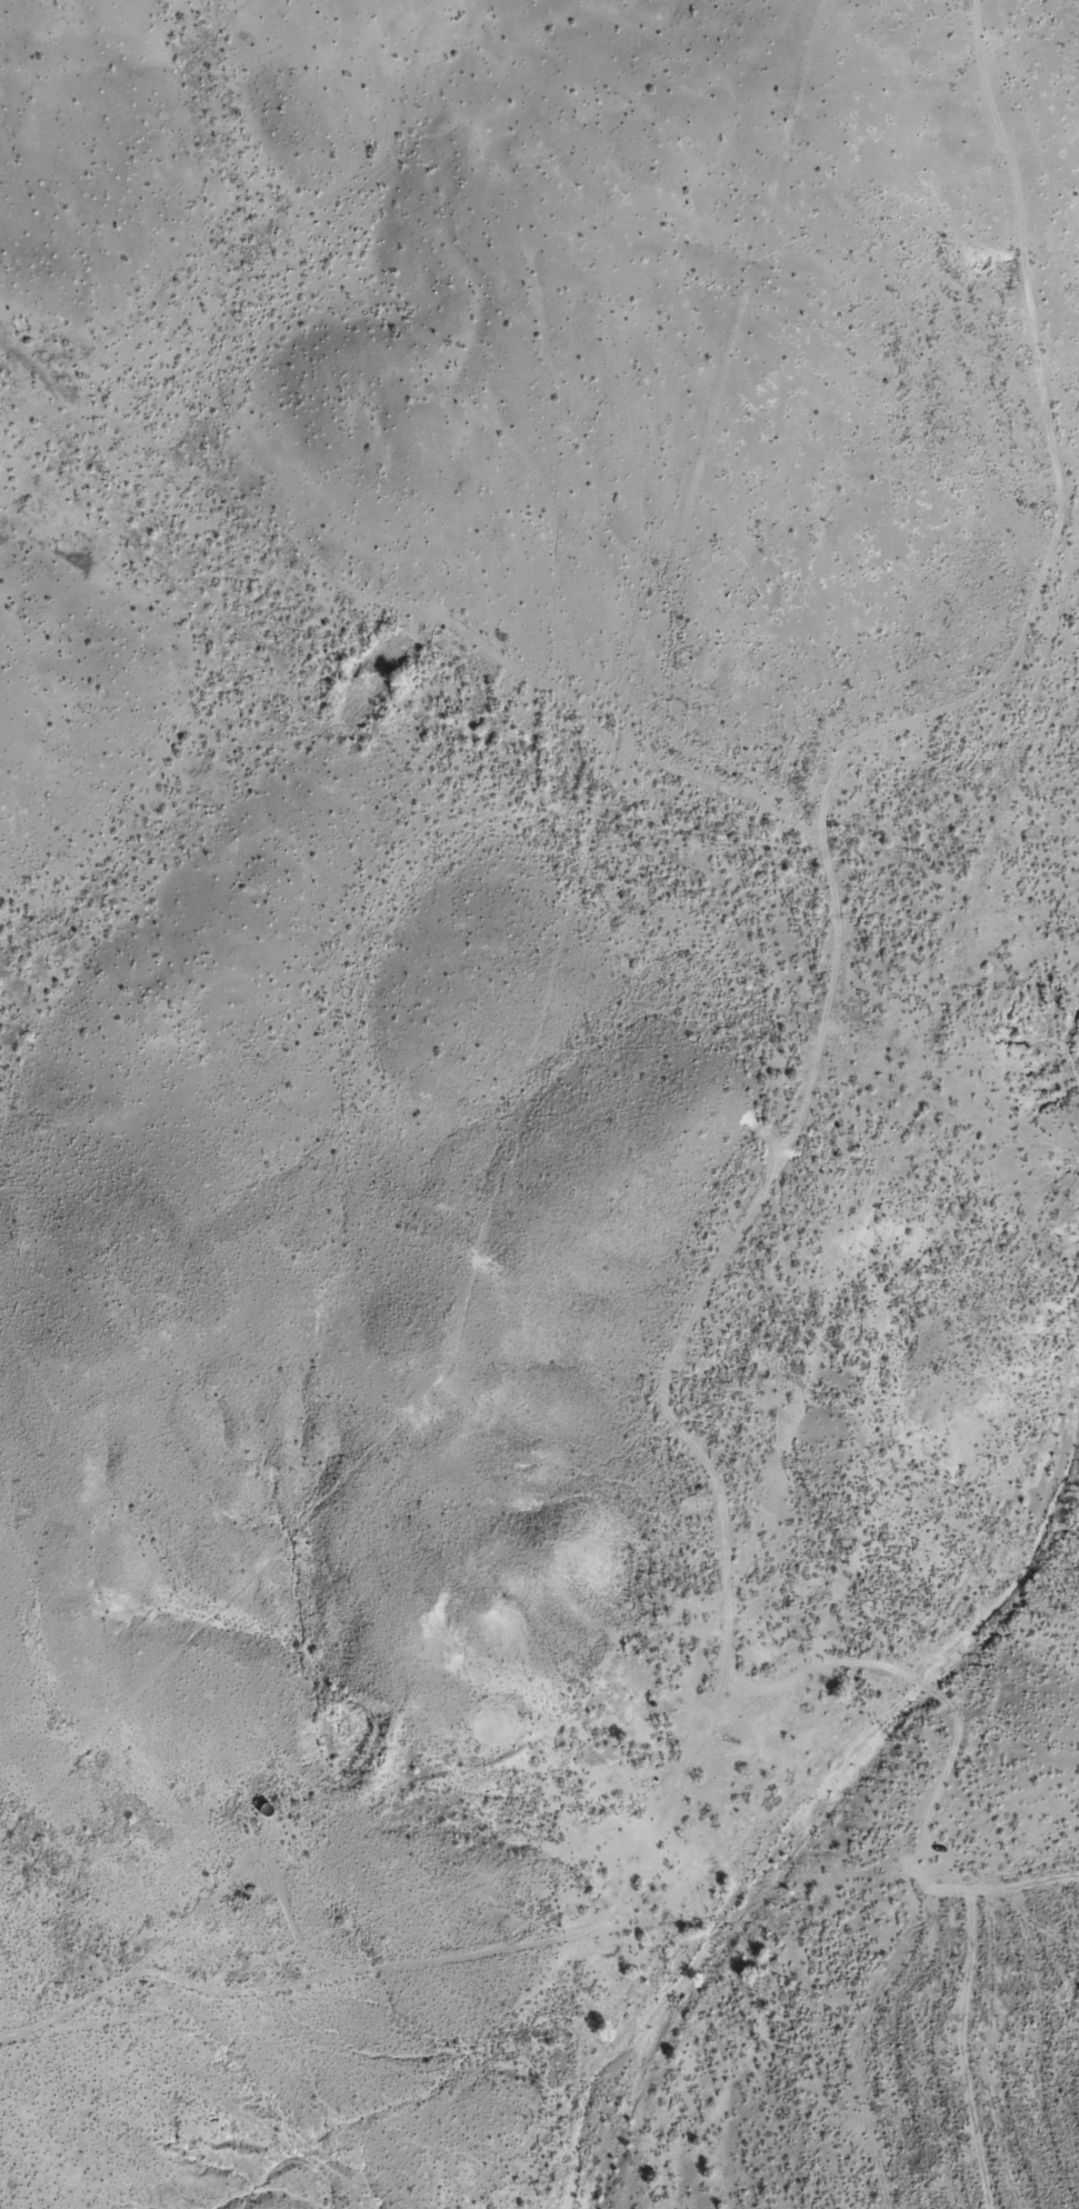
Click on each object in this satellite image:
road: (176, 473)
road: (560, 1945)
road: (913, 1959)

